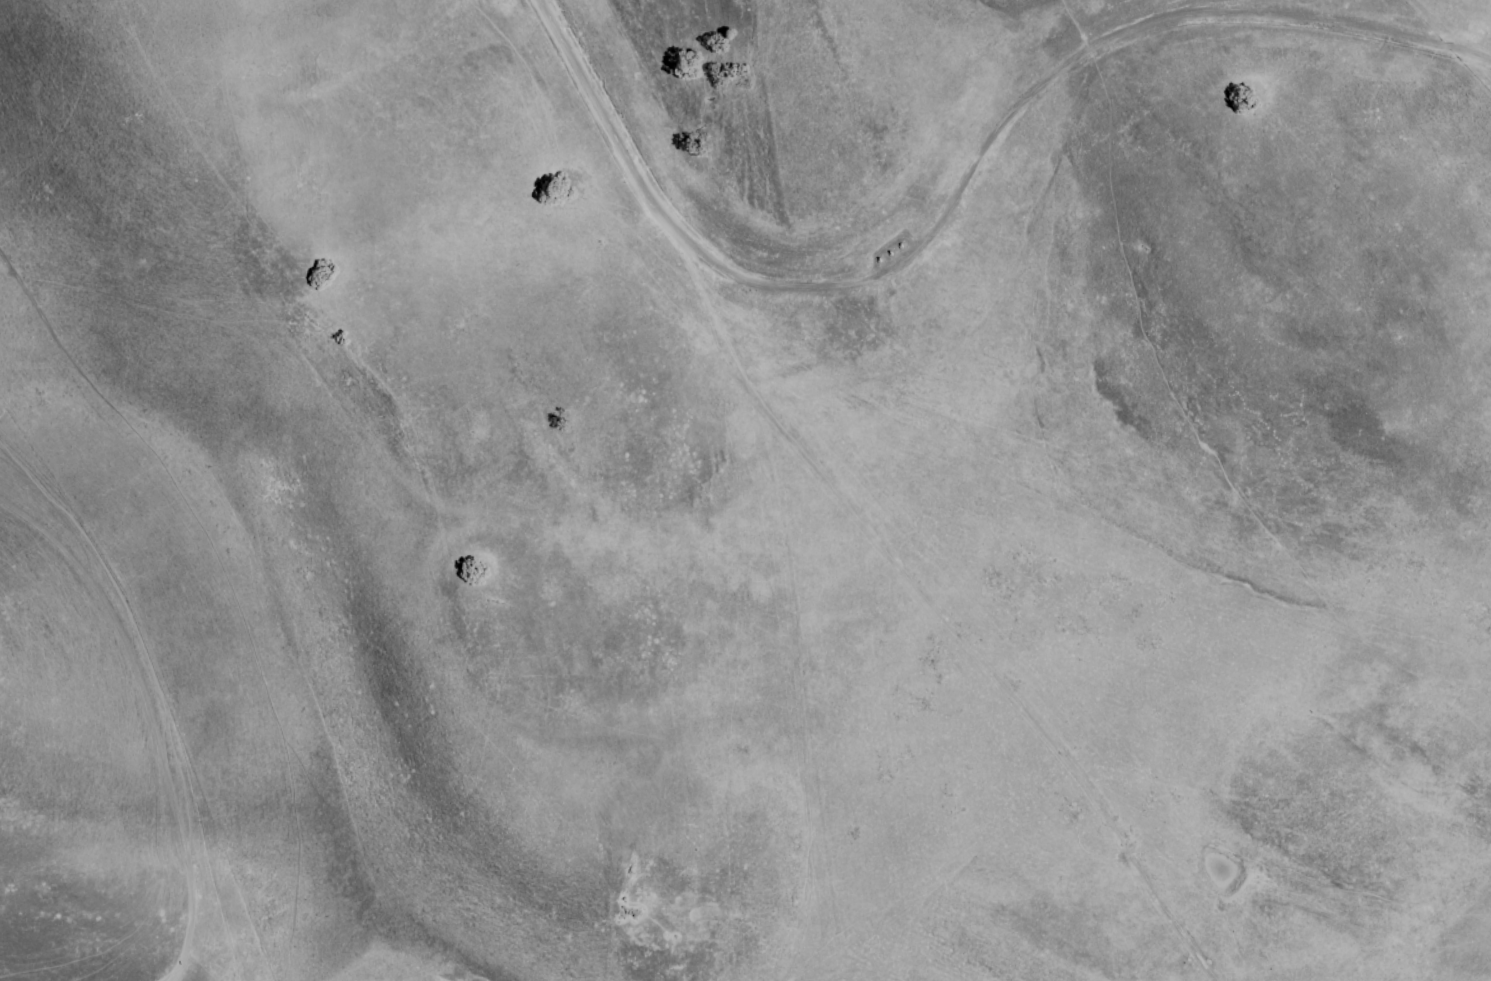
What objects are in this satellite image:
road: (954, 182)
park: (745, 490)
road: (946, 638)
road: (147, 720)

